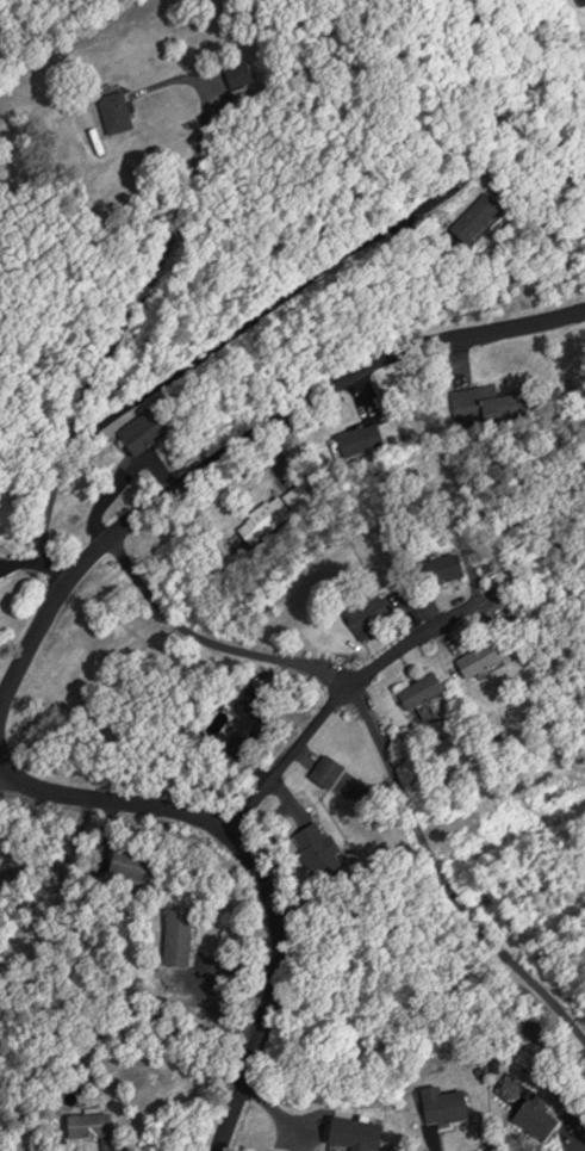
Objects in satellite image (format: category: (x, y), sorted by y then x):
building: (242, 74)
building: (247, 99)
building: (118, 111)
building: (481, 217)
road: (116, 339)
building: (147, 431)
road: (243, 438)
building: (356, 439)
building: (254, 521)
building: (447, 569)
building: (372, 614)
road: (412, 638)
building: (484, 660)
building: (425, 692)
road: (381, 738)
building: (313, 843)
building: (127, 862)
road: (257, 870)
building: (179, 935)
building: (444, 1103)
building: (539, 1118)
building: (91, 1125)
building: (357, 1132)

